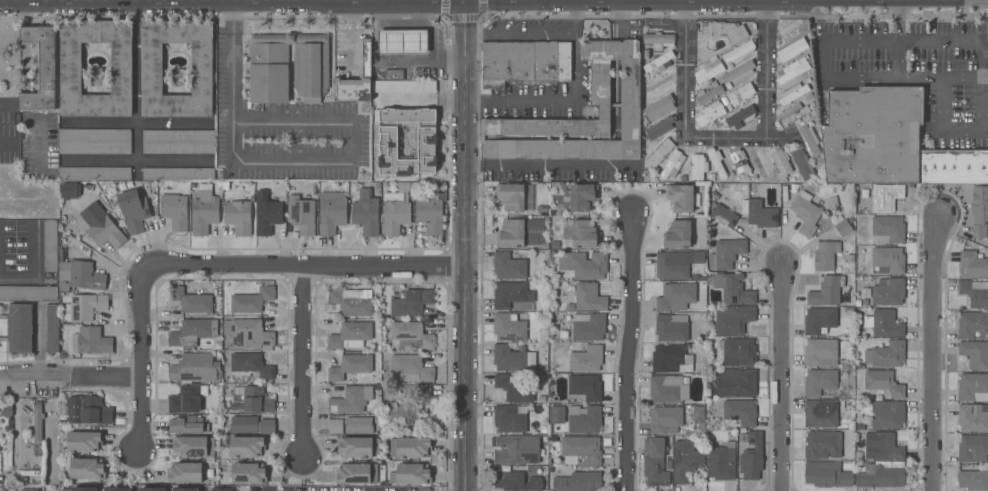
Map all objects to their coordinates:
road: (464, 0)
road: (894, 0)
road: (940, 0)
road: (987, 0)
road: (183, 1)
road: (303, 1)
road: (421, 1)
traffic signals: (464, 1)
road: (640, 1)
road: (855, 1)
road: (69, 2)
road: (576, 21)
road: (893, 21)
building: (724, 30)
building: (790, 33)
building: (658, 40)
road: (857, 40)
road: (937, 41)
building: (403, 42)
gas station: (403, 42)
building: (792, 50)
building: (740, 51)
building: (365, 58)
road: (227, 59)
road: (822, 59)
road: (893, 59)
building: (525, 62)
building: (659, 63)
building: (288, 67)
building: (41, 68)
road: (577, 68)
building: (70, 69)
building: (151, 69)
parking lot: (913, 69)
building: (792, 70)
building: (709, 71)
building: (738, 73)
building: (392, 75)
building: (95, 76)
building: (177, 77)
road: (906, 78)
building: (808, 80)
road: (136, 83)
building: (600, 83)
building: (659, 85)
road: (982, 87)
building: (710, 93)
building: (793, 93)
building: (741, 94)
building: (810, 96)
building: (403, 101)
road: (4, 104)
building: (659, 107)
building: (709, 114)
building: (791, 114)
building: (741, 116)
road: (135, 122)
building: (396, 122)
road: (945, 127)
building: (659, 128)
building: (381, 132)
road: (726, 136)
building: (873, 136)
building: (810, 140)
building: (94, 141)
building: (178, 141)
road: (6, 142)
building: (659, 154)
road: (350, 160)
building: (384, 162)
building: (716, 162)
building: (740, 162)
building: (758, 162)
building: (782, 163)
building: (801, 163)
road: (140, 164)
road: (548, 165)
building: (673, 165)
building: (430, 166)
building: (698, 166)
building: (953, 167)
building: (95, 173)
building: (731, 173)
building: (178, 174)
building: (776, 177)
building: (711, 178)
building: (755, 178)
building: (792, 180)
building: (185, 184)
building: (224, 186)
building: (563, 187)
building: (794, 189)
building: (69, 190)
building: (187, 190)
building: (784, 193)
building: (699, 195)
building: (511, 196)
building: (715, 196)
building: (580, 197)
building: (680, 198)
building: (885, 199)
building: (832, 203)
building: (174, 209)
building: (133, 210)
building: (204, 210)
building: (979, 211)
building: (366, 212)
building: (805, 212)
building: (267, 213)
building: (395, 213)
building: (545, 213)
building: (558, 213)
building: (759, 213)
building: (430, 214)
building: (238, 215)
building: (301, 215)
building: (332, 215)
building: (723, 215)
building: (851, 220)
building: (843, 227)
building: (889, 228)
building: (104, 231)
building: (521, 233)
building: (584, 234)
building: (677, 234)
building: (50, 245)
road: (465, 245)
building: (553, 245)
building: (544, 246)
road: (37, 250)
building: (726, 253)
building: (552, 255)
building: (825, 255)
building: (850, 259)
building: (888, 259)
building: (584, 264)
building: (676, 264)
building: (973, 265)
building: (508, 266)
road: (308, 267)
building: (79, 275)
road: (19, 278)
building: (733, 289)
building: (826, 291)
building: (28, 292)
building: (888, 292)
building: (974, 292)
building: (864, 293)
building: (511, 294)
building: (676, 296)
building: (589, 297)
building: (190, 300)
building: (252, 300)
building: (352, 301)
building: (411, 302)
building: (84, 307)
building: (569, 308)
building: (848, 311)
building: (733, 319)
building: (819, 320)
building: (884, 323)
building: (973, 324)
building: (588, 326)
building: (19, 327)
building: (509, 327)
building: (671, 327)
building: (52, 328)
building: (192, 332)
building: (247, 333)
building: (859, 333)
building: (350, 335)
building: (411, 335)
building: (91, 341)
building: (543, 344)
building: (218, 346)
building: (696, 348)
road: (627, 351)
building: (738, 351)
road: (931, 351)
building: (821, 352)
building: (975, 354)
building: (886, 355)
road: (140, 357)
building: (513, 359)
building: (586, 359)
building: (671, 359)
road: (304, 361)
building: (850, 363)
building: (252, 365)
building: (860, 366)
building: (350, 367)
building: (195, 368)
building: (409, 369)
road: (780, 376)
road: (69, 380)
building: (737, 382)
building: (819, 382)
building: (884, 383)
building: (585, 387)
building: (973, 387)
building: (417, 389)
building: (514, 389)
building: (668, 389)
building: (255, 399)
building: (541, 399)
building: (185, 400)
building: (351, 400)
building: (88, 410)
building: (7, 411)
building: (740, 412)
building: (402, 413)
building: (698, 413)
building: (821, 413)
building: (888, 414)
building: (557, 415)
building: (972, 418)
building: (509, 419)
building: (584, 419)
building: (665, 420)
building: (37, 421)
building: (186, 424)
building: (251, 425)
building: (358, 425)
building: (335, 426)
building: (543, 429)
building: (84, 441)
building: (822, 444)
building: (194, 446)
building: (246, 446)
building: (358, 447)
building: (410, 447)
building: (886, 447)
building: (972, 448)
building: (516, 450)
building: (581, 450)
building: (752, 457)
building: (685, 460)
building: (2, 462)
building: (9, 462)
building: (654, 462)
building: (722, 462)
building: (87, 469)
building: (185, 473)
building: (248, 473)
building: (357, 473)
building: (411, 474)
building: (827, 474)
building: (881, 474)
building: (973, 480)
building: (516, 481)
building: (577, 482)
building: (7, 489)
building: (85, 489)
building: (118, 489)
building: (153, 489)
building: (185, 489)
building: (221, 489)
building: (29, 490)

